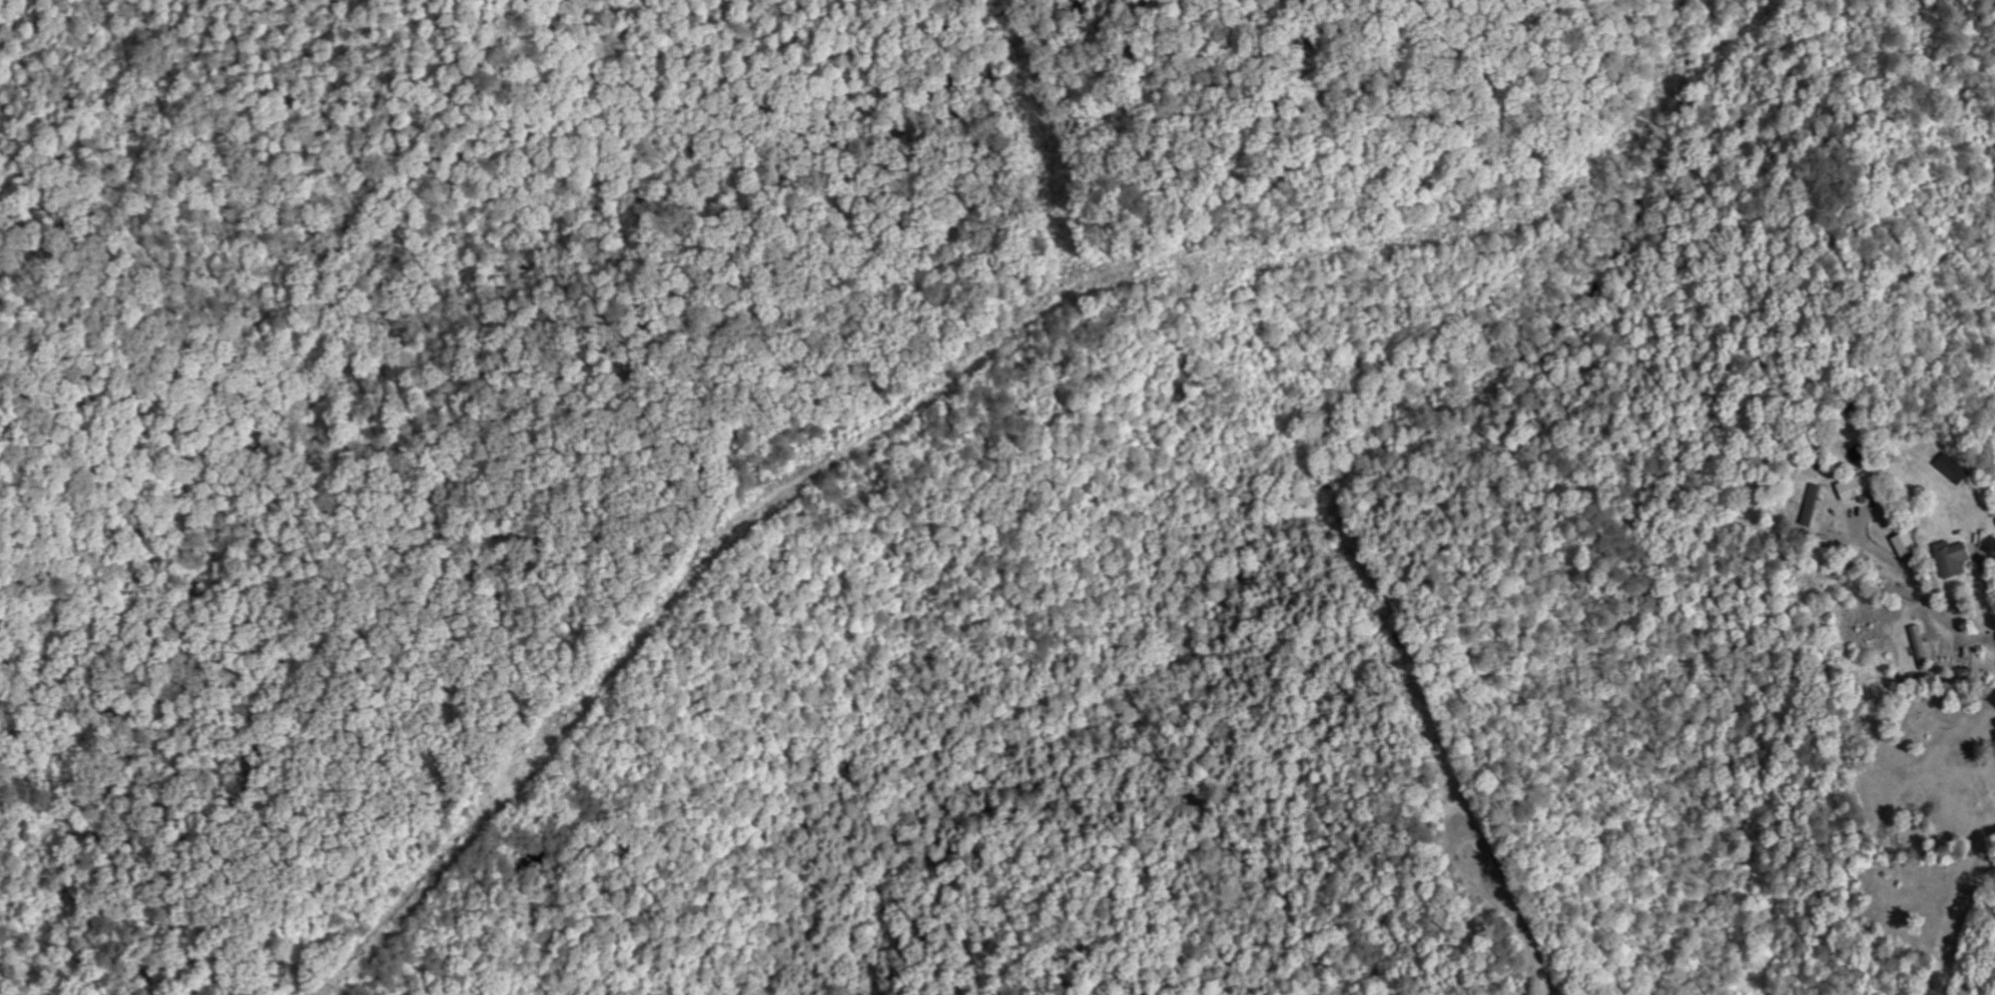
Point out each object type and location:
building: (1957, 468)
building: (1860, 486)
building: (1814, 504)
building: (1910, 545)
building: (1956, 558)
road: (1985, 576)
building: (1922, 647)

